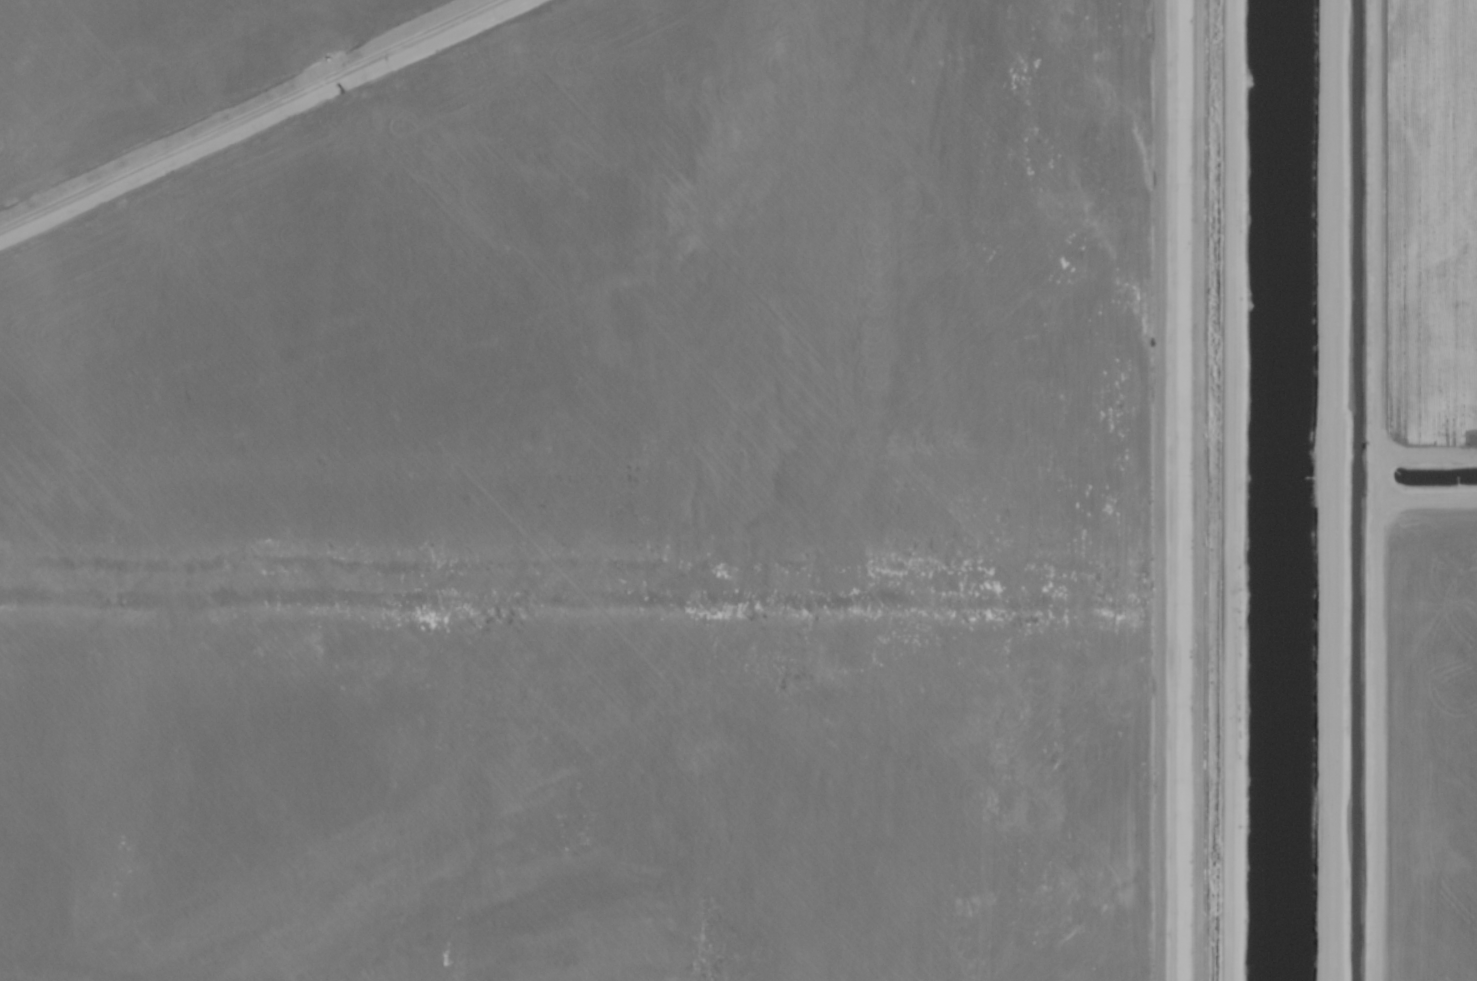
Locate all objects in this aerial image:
road: (1192, 490)
road: (1291, 490)

